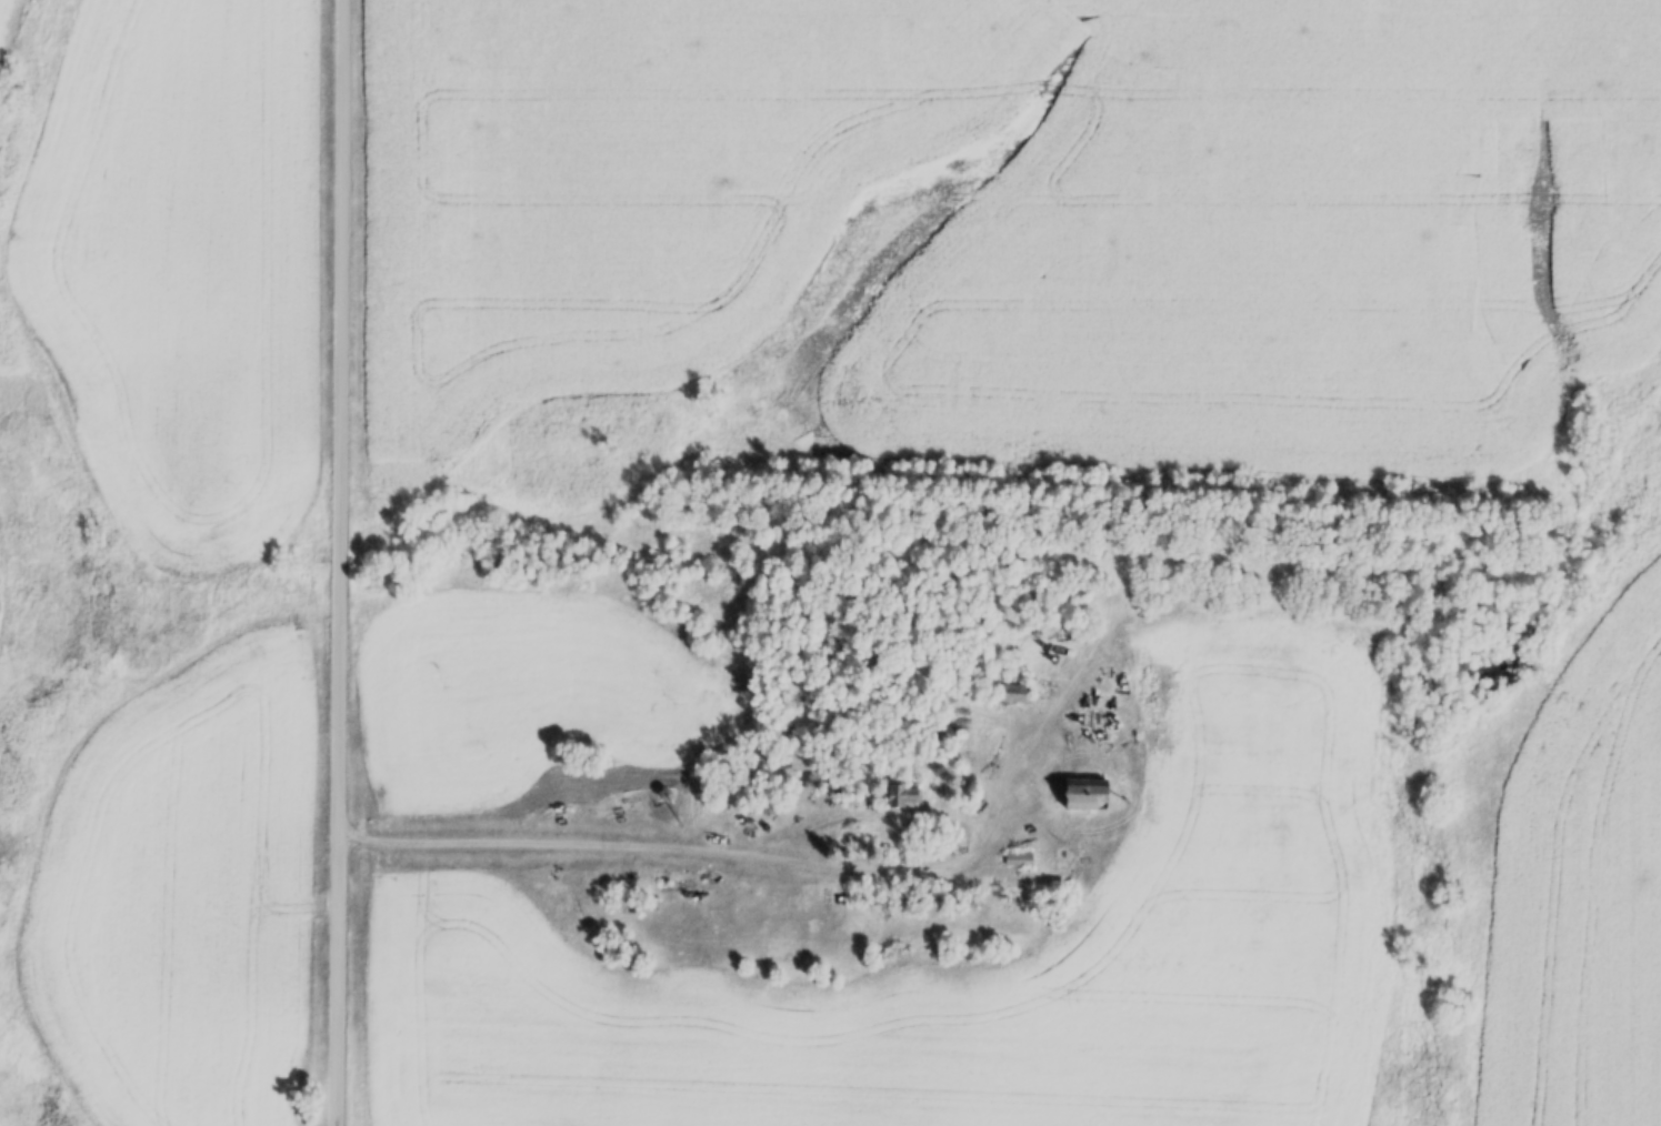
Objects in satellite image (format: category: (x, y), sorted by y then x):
road: (344, 563)
building: (1010, 702)
building: (1085, 797)
building: (897, 801)
road: (720, 848)

